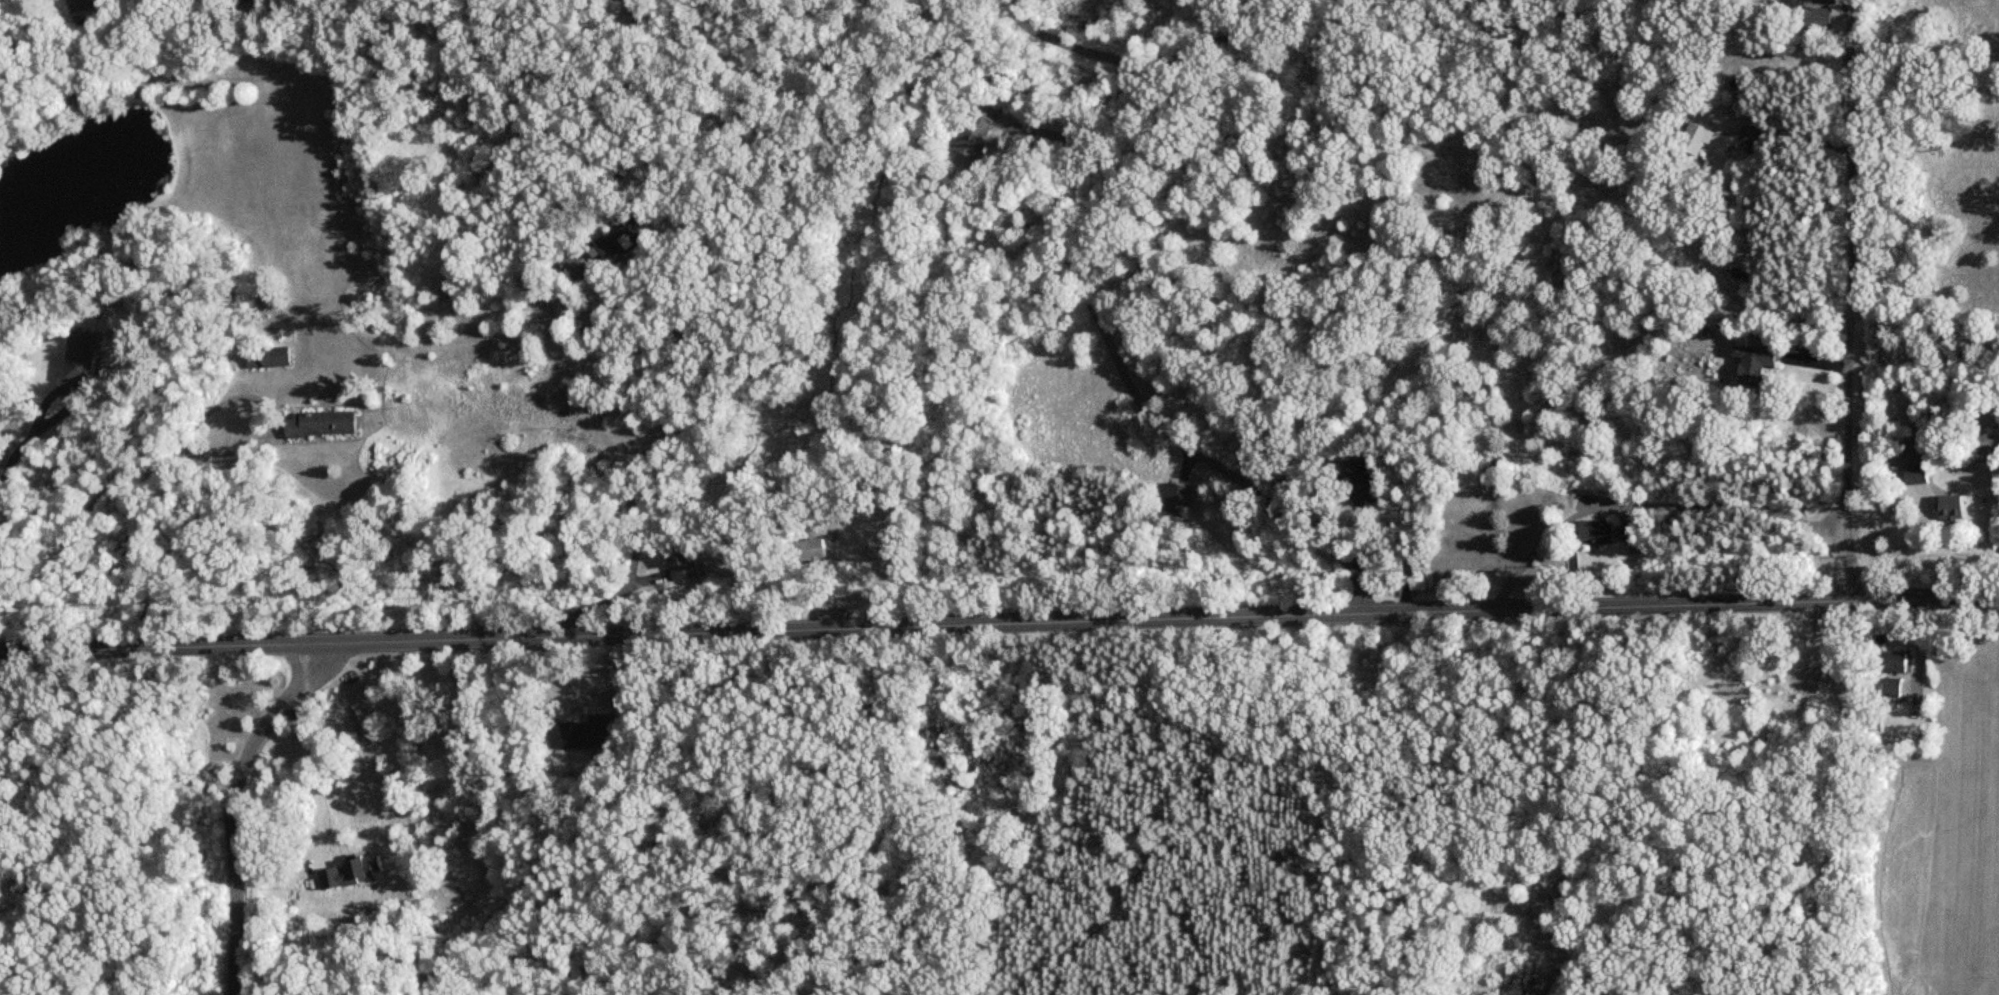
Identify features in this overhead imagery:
building: (80, 8)
building: (1814, 20)
road: (1064, 42)
building: (977, 129)
building: (1690, 145)
road: (1620, 208)
road: (1850, 219)
building: (621, 237)
building: (1743, 270)
road: (1077, 316)
building: (79, 357)
building: (266, 358)
building: (1753, 363)
road: (64, 394)
road: (267, 410)
building: (318, 424)
road: (678, 432)
road: (1618, 457)
road: (12, 460)
building: (1916, 475)
building: (1359, 485)
building: (1176, 500)
road: (402, 505)
road: (84, 506)
building: (1951, 508)
road: (1852, 519)
building: (1596, 532)
building: (1631, 533)
building: (809, 552)
building: (681, 565)
road: (999, 625)
building: (1890, 663)
building: (1890, 688)
building: (583, 735)
road: (292, 774)
road: (233, 807)

